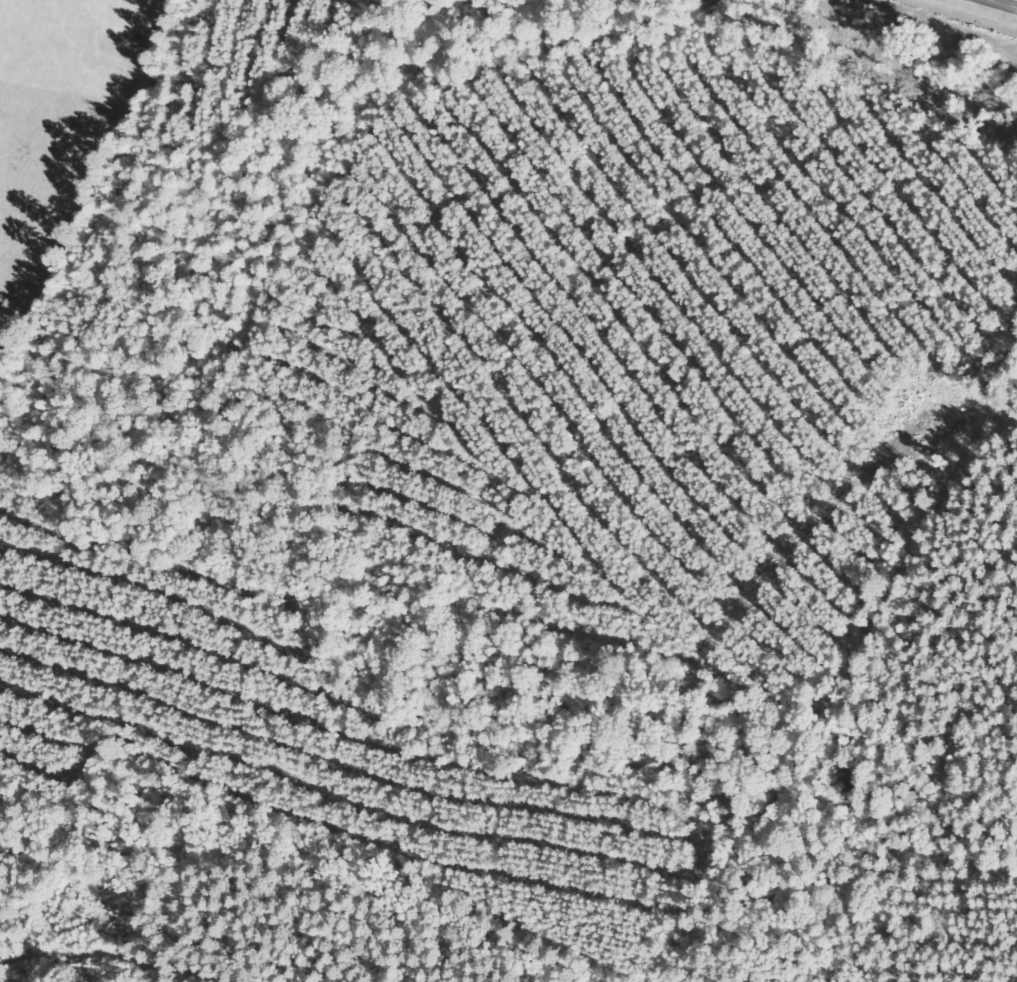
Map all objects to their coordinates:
road: (1004, 3)

